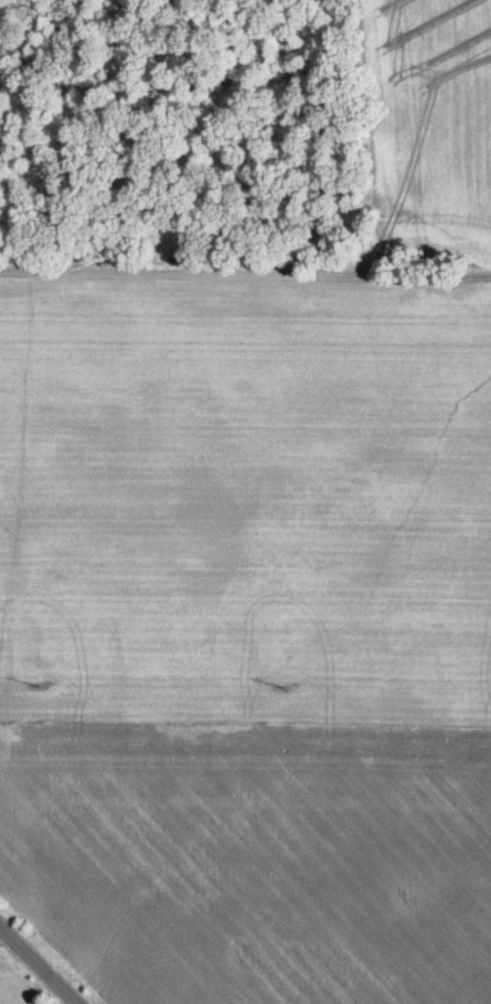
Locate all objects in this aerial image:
road: (37, 966)

